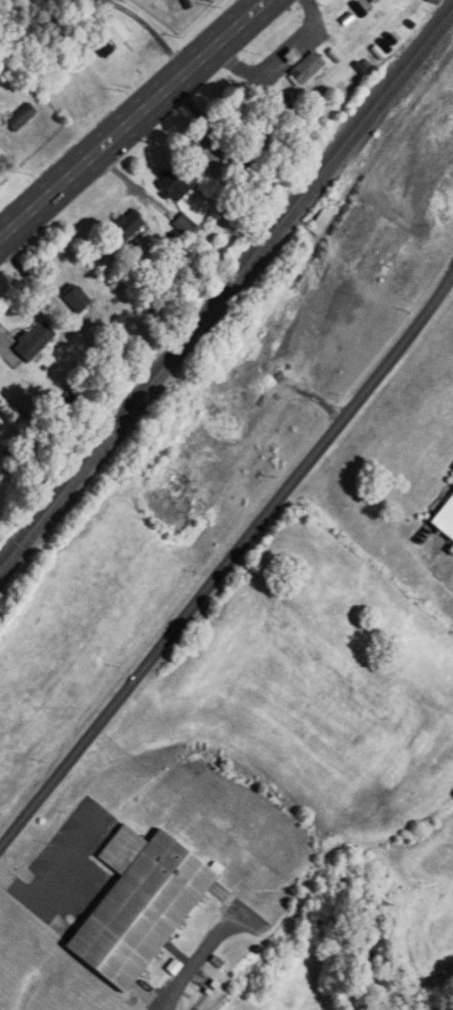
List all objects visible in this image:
road: (255, 2)
building: (167, 6)
road: (151, 30)
building: (118, 32)
building: (310, 67)
building: (23, 117)
road: (130, 118)
building: (210, 151)
building: (175, 183)
building: (130, 225)
building: (190, 227)
railway: (227, 282)
railway: (226, 295)
building: (78, 299)
building: (37, 341)
building: (444, 520)
road: (227, 562)
building: (137, 906)
road: (201, 950)

